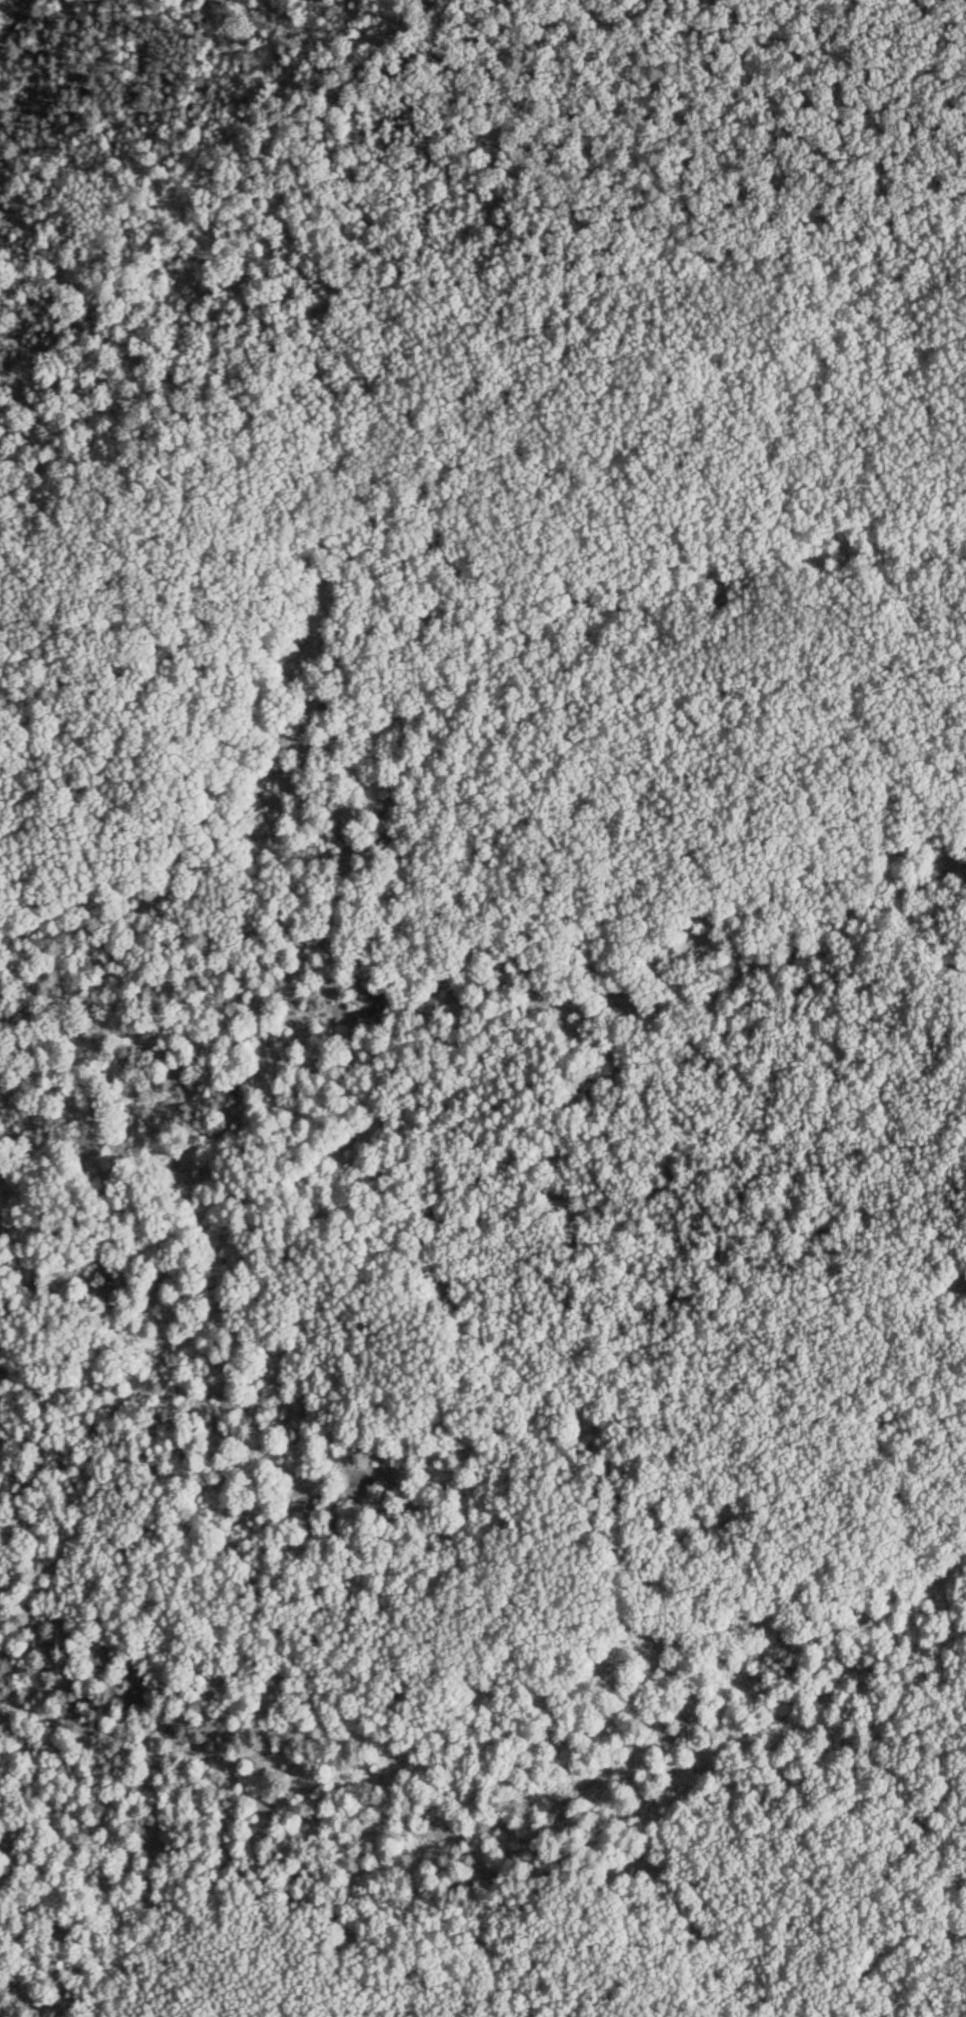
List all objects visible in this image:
road: (14, 22)
road: (488, 1824)
road: (221, 1902)

